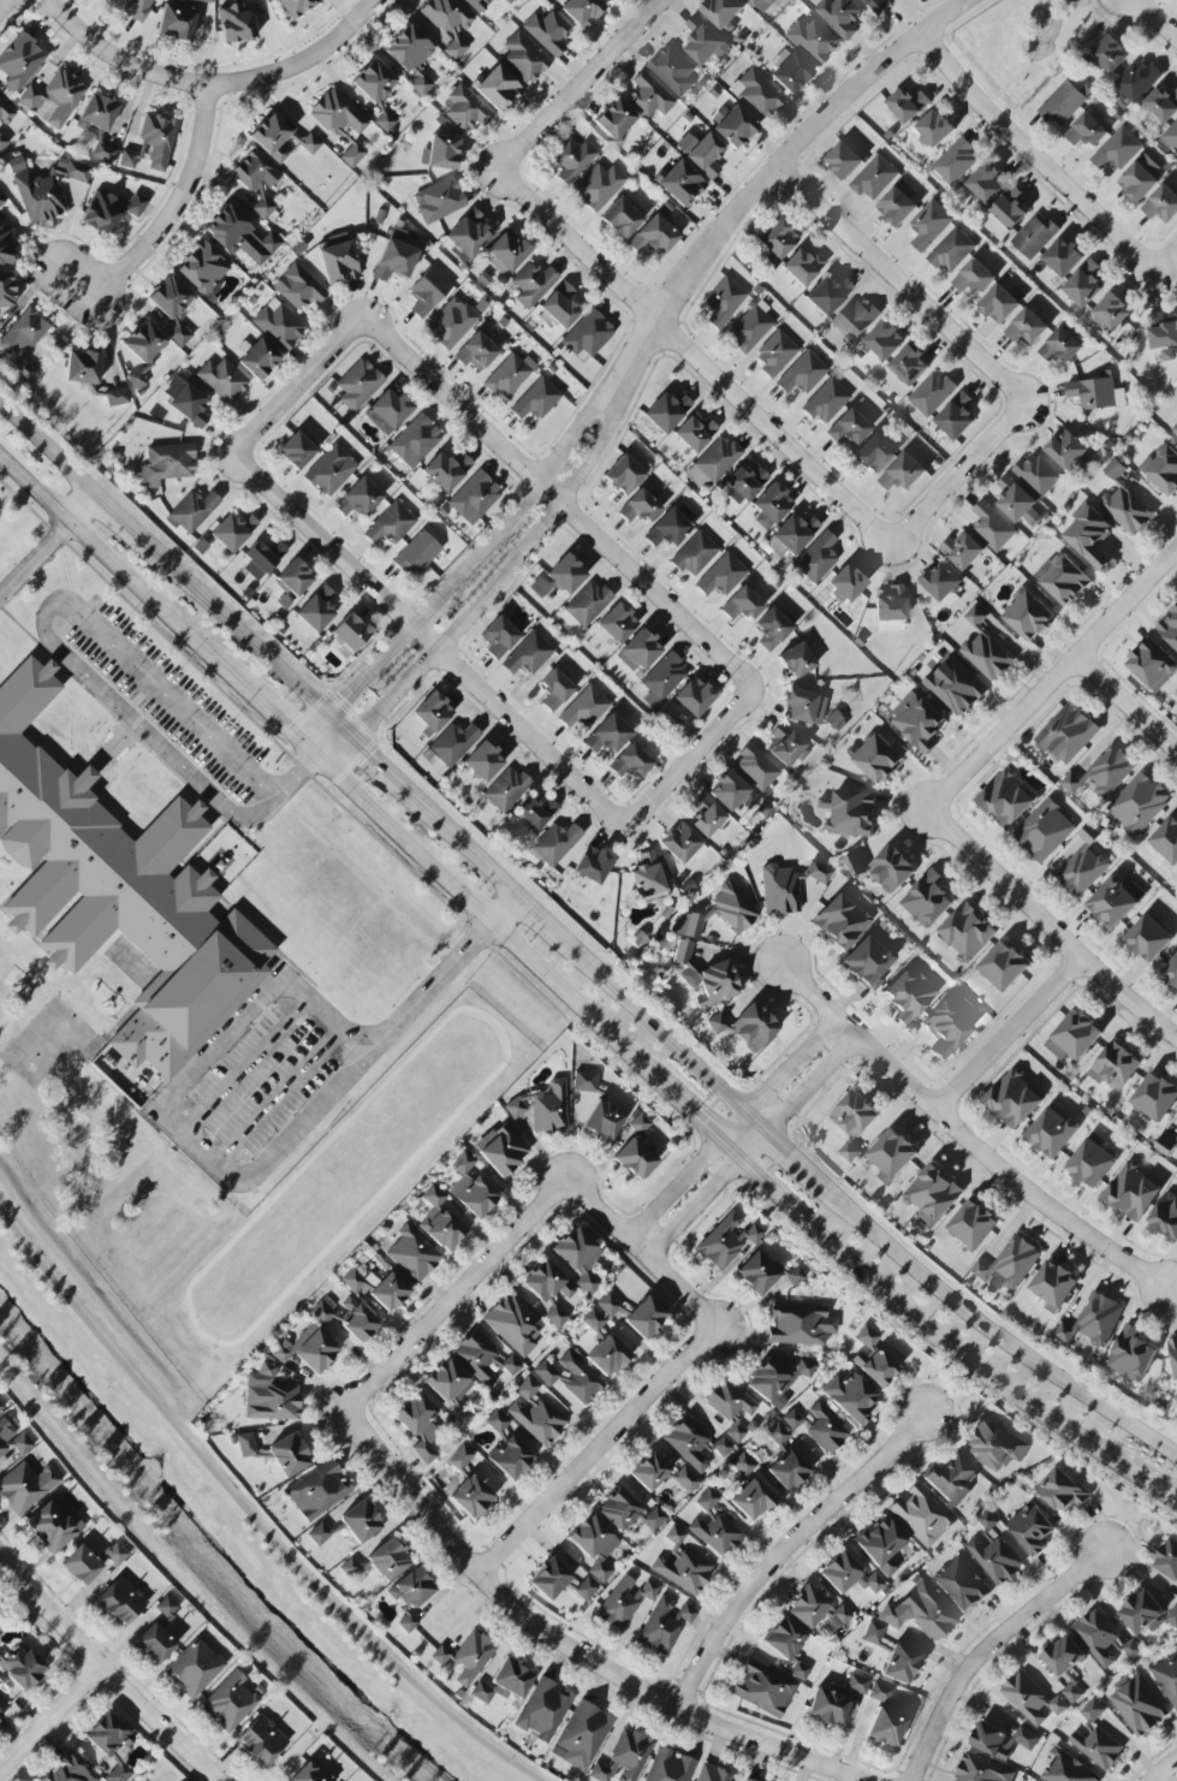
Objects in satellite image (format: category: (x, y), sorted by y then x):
building: (203, 0)
building: (608, 0)
building: (509, 1)
building: (761, 4)
road: (5, 5)
building: (477, 5)
building: (296, 6)
building: (876, 6)
building: (132, 7)
building: (582, 11)
building: (721, 11)
building: (838, 14)
road: (1155, 19)
building: (234, 22)
building: (176, 23)
building: (547, 31)
building: (702, 41)
building: (812, 41)
building: (1110, 55)
building: (410, 57)
road: (121, 58)
building: (524, 58)
road: (1051, 58)
building: (20, 61)
road: (305, 63)
building: (673, 70)
building: (790, 73)
building: (373, 81)
building: (1136, 82)
road: (582, 83)
building: (498, 89)
building: (757, 93)
building: (649, 96)
building: (55, 97)
building: (1064, 102)
building: (1163, 103)
building: (908, 105)
building: (464, 109)
building: (5, 112)
building: (337, 114)
building: (385, 118)
building: (614, 119)
building: (733, 125)
building: (99, 126)
building: (934, 129)
building: (1086, 131)
building: (271, 137)
building: (157, 139)
building: (1170, 139)
building: (2, 142)
building: (310, 144)
building: (1117, 150)
building: (440, 153)
building: (352, 155)
building: (706, 155)
road: (1033, 155)
building: (129, 159)
building: (572, 160)
building: (843, 160)
building: (955, 162)
building: (16, 165)
building: (874, 178)
building: (1140, 178)
building: (257, 180)
road: (767, 182)
building: (680, 183)
building: (986, 183)
building: (598, 186)
building: (48, 189)
building: (1, 201)
building: (438, 201)
building: (897, 204)
building: (1161, 204)
building: (1009, 209)
building: (111, 210)
building: (620, 218)
road: (170, 219)
building: (929, 225)
building: (240, 236)
building: (468, 236)
building: (653, 236)
building: (1034, 236)
building: (778, 238)
building: (6, 243)
building: (951, 251)
building: (506, 253)
building: (1063, 257)
road: (1166, 260)
building: (394, 261)
building: (338, 262)
building: (802, 266)
building: (202, 268)
building: (974, 278)
building: (531, 284)
road: (899, 284)
building: (1083, 285)
building: (298, 287)
building: (6, 290)
building: (428, 291)
building: (827, 295)
building: (168, 297)
building: (723, 301)
building: (1000, 303)
building: (559, 305)
building: (1111, 313)
building: (856, 319)
building: (451, 322)
building: (279, 325)
building: (750, 327)
building: (1026, 328)
building: (1161, 331)
building: (178, 333)
building: (587, 334)
building: (884, 340)
building: (144, 343)
building: (24, 344)
building: (1060, 346)
building: (475, 352)
building: (775, 354)
building: (258, 358)
road: (694, 358)
building: (909, 366)
building: (83, 367)
building: (803, 373)
building: (509, 375)
building: (136, 380)
building: (222, 380)
building: (357, 385)
road: (302, 387)
building: (932, 393)
building: (1095, 393)
building: (117, 397)
building: (535, 399)
building: (184, 400)
building: (826, 402)
building: (388, 411)
building: (666, 411)
building: (956, 416)
building: (848, 428)
building: (1175, 431)
building: (695, 433)
building: (415, 441)
road: (46, 449)
building: (1065, 450)
building: (296, 451)
building: (873, 455)
building: (170, 462)
building: (714, 462)
building: (1161, 469)
building: (445, 470)
building: (1114, 470)
building: (329, 471)
building: (902, 473)
building: (623, 475)
road: (959, 475)
building: (1038, 475)
building: (744, 483)
road: (7, 494)
building: (474, 498)
building: (358, 499)
building: (1016, 501)
road: (565, 503)
road: (81, 506)
building: (771, 506)
building: (640, 507)
building: (192, 510)
building: (1127, 510)
road: (119, 518)
park: (12, 524)
building: (390, 524)
building: (992, 527)
building: (668, 529)
building: (233, 530)
building: (791, 535)
building: (1089, 535)
building: (962, 550)
building: (417, 554)
building: (695, 554)
road: (34, 556)
building: (262, 556)
building: (816, 558)
road: (123, 571)
building: (565, 574)
building: (721, 576)
building: (293, 578)
building: (1063, 578)
road: (460, 581)
building: (845, 584)
building: (941, 584)
building: (540, 587)
road: (486, 600)
building: (584, 605)
building: (742, 605)
building: (316, 608)
building: (890, 610)
building: (975, 616)
building: (1028, 616)
building: (617, 623)
road: (42, 627)
building: (1169, 628)
road: (157, 629)
building: (771, 629)
building: (350, 633)
building: (499, 637)
road: (250, 642)
road: (430, 642)
building: (638, 651)
building: (528, 654)
building: (987, 657)
building: (796, 660)
building: (1152, 665)
building: (664, 677)
road: (1053, 682)
building: (956, 687)
building: (554, 689)
building: (694, 697)
road: (1128, 704)
building: (804, 706)
building: (584, 708)
parking lot: (162, 711)
building: (432, 712)
building: (834, 720)
road: (283, 722)
building: (917, 722)
building: (1066, 734)
building: (607, 735)
building: (453, 743)
building: (786, 746)
building: (880, 759)
building: (483, 761)
building: (631, 762)
road: (691, 762)
road: (384, 767)
building: (756, 767)
road: (299, 771)
building: (1102, 772)
building: (505, 789)
building: (727, 790)
building: (1005, 800)
building: (1137, 803)
building: (535, 812)
building: (849, 813)
building: (706, 817)
building: (1044, 831)
building: (1166, 841)
building: (554, 843)
building: (683, 845)
building: (593, 865)
building: (882, 868)
building: (1082, 869)
building: (647, 875)
building: (787, 886)
building: (119, 890)
building: (927, 900)
building: (1112, 903)
road: (506, 908)
building: (732, 909)
building: (840, 921)
road: (495, 924)
building: (689, 925)
road: (1048, 926)
building: (967, 932)
building: (1147, 939)
road: (589, 961)
building: (868, 961)
building: (1003, 966)
building: (1171, 972)
building: (705, 979)
building: (909, 995)
road: (322, 1015)
building: (747, 1027)
building: (945, 1029)
road: (1009, 1034)
building: (1072, 1037)
road: (249, 1064)
building: (1113, 1067)
parking lot: (254, 1079)
building: (584, 1081)
road: (280, 1096)
building: (1154, 1098)
building: (1012, 1099)
building: (542, 1109)
road: (315, 1110)
road: (697, 1115)
building: (604, 1121)
building: (854, 1122)
building: (637, 1123)
road: (731, 1127)
building: (1051, 1133)
road: (967, 1136)
road: (202, 1141)
building: (1176, 1144)
road: (751, 1147)
building: (501, 1150)
road: (791, 1152)
building: (892, 1153)
building: (635, 1158)
building: (1090, 1164)
building: (470, 1187)
building: (1131, 1192)
building: (933, 1194)
building: (1165, 1216)
building: (439, 1221)
building: (973, 1224)
building: (726, 1241)
road: (641, 1249)
building: (412, 1254)
building: (578, 1257)
building: (1007, 1265)
building: (757, 1272)
building: (795, 1276)
building: (352, 1281)
building: (546, 1283)
building: (1053, 1286)
road: (955, 1288)
building: (388, 1292)
road: (457, 1293)
building: (608, 1305)
building: (322, 1312)
road: (909, 1316)
building: (557, 1317)
building: (644, 1317)
building: (593, 1320)
building: (1093, 1320)
building: (513, 1324)
building: (799, 1324)
road: (986, 1328)
building: (307, 1349)
building: (610, 1354)
building: (1130, 1355)
building: (1173, 1355)
building: (872, 1358)
building: (546, 1373)
building: (579, 1379)
building: (774, 1381)
building: (269, 1396)
building: (851, 1397)
building: (729, 1401)
building: (535, 1414)
building: (792, 1419)
building: (497, 1421)
building: (418, 1426)
building: (825, 1430)
building: (736, 1432)
building: (778, 1435)
park: (1176, 1439)
building: (13, 1441)
building: (694, 1443)
building: (245, 1444)
building: (993, 1447)
road: (595, 1449)
building: (289, 1455)
building: (460, 1458)
building: (510, 1458)
building: (743, 1465)
building: (789, 1470)
building: (649, 1472)
building: (685, 1479)
building: (950, 1480)
road: (1149, 1484)
building: (26, 1486)
building: (319, 1490)
building: (1062, 1491)
building: (470, 1497)
building: (754, 1498)
building: (707, 1500)
building: (619, 1509)
road: (246, 1515)
building: (921, 1515)
building: (654, 1519)
building: (359, 1521)
building: (987, 1521)
building: (53, 1527)
building: (1030, 1528)
building: (715, 1533)
building: (319, 1534)
building: (674, 1536)
building: (881, 1544)
building: (594, 1545)
road: (783, 1553)
building: (115, 1554)
building: (998, 1559)
building: (388, 1560)
building: (1166, 1560)
building: (82, 1566)
building: (351, 1567)
building: (683, 1571)
building: (848, 1574)
building: (549, 1579)
building: (962, 1584)
building: (585, 1589)
building: (410, 1596)
building: (121, 1601)
building: (625, 1601)
building: (807, 1607)
building: (166, 1608)
building: (921, 1613)
building: (1142, 1613)
building: (684, 1614)
building: (1172, 1617)
building: (838, 1619)
building: (659, 1628)
building: (873, 1633)
building: (1096, 1637)
building: (155, 1644)
building: (787, 1645)
road: (563, 1648)
road: (985, 1648)
building: (1131, 1649)
building: (1063, 1656)
building: (466, 1657)
building: (0, 1661)
building: (900, 1664)
building: (23, 1668)
building: (194, 1668)
road: (102, 1672)
building: (1167, 1679)
building: (504, 1682)
building: (857, 1684)
building: (763, 1688)
building: (881, 1693)
building: (1072, 1693)
building: (1030, 1699)
building: (228, 1702)
building: (1139, 1704)
building: (828, 1706)
building: (543, 1710)
building: (1092, 1711)
building: (0, 1715)
road: (48, 1716)
building: (886, 1727)
building: (108, 1735)
building: (583, 1737)
building: (1003, 1740)
building: (261, 1741)
building: (1098, 1747)
building: (624, 1757)
building: (670, 1767)
building: (1066, 1769)
road: (1165, 1769)
building: (981, 1770)
building: (66, 1771)
building: (311, 1773)
building: (119, 1774)
building: (714, 1775)
building: (747, 1780)

